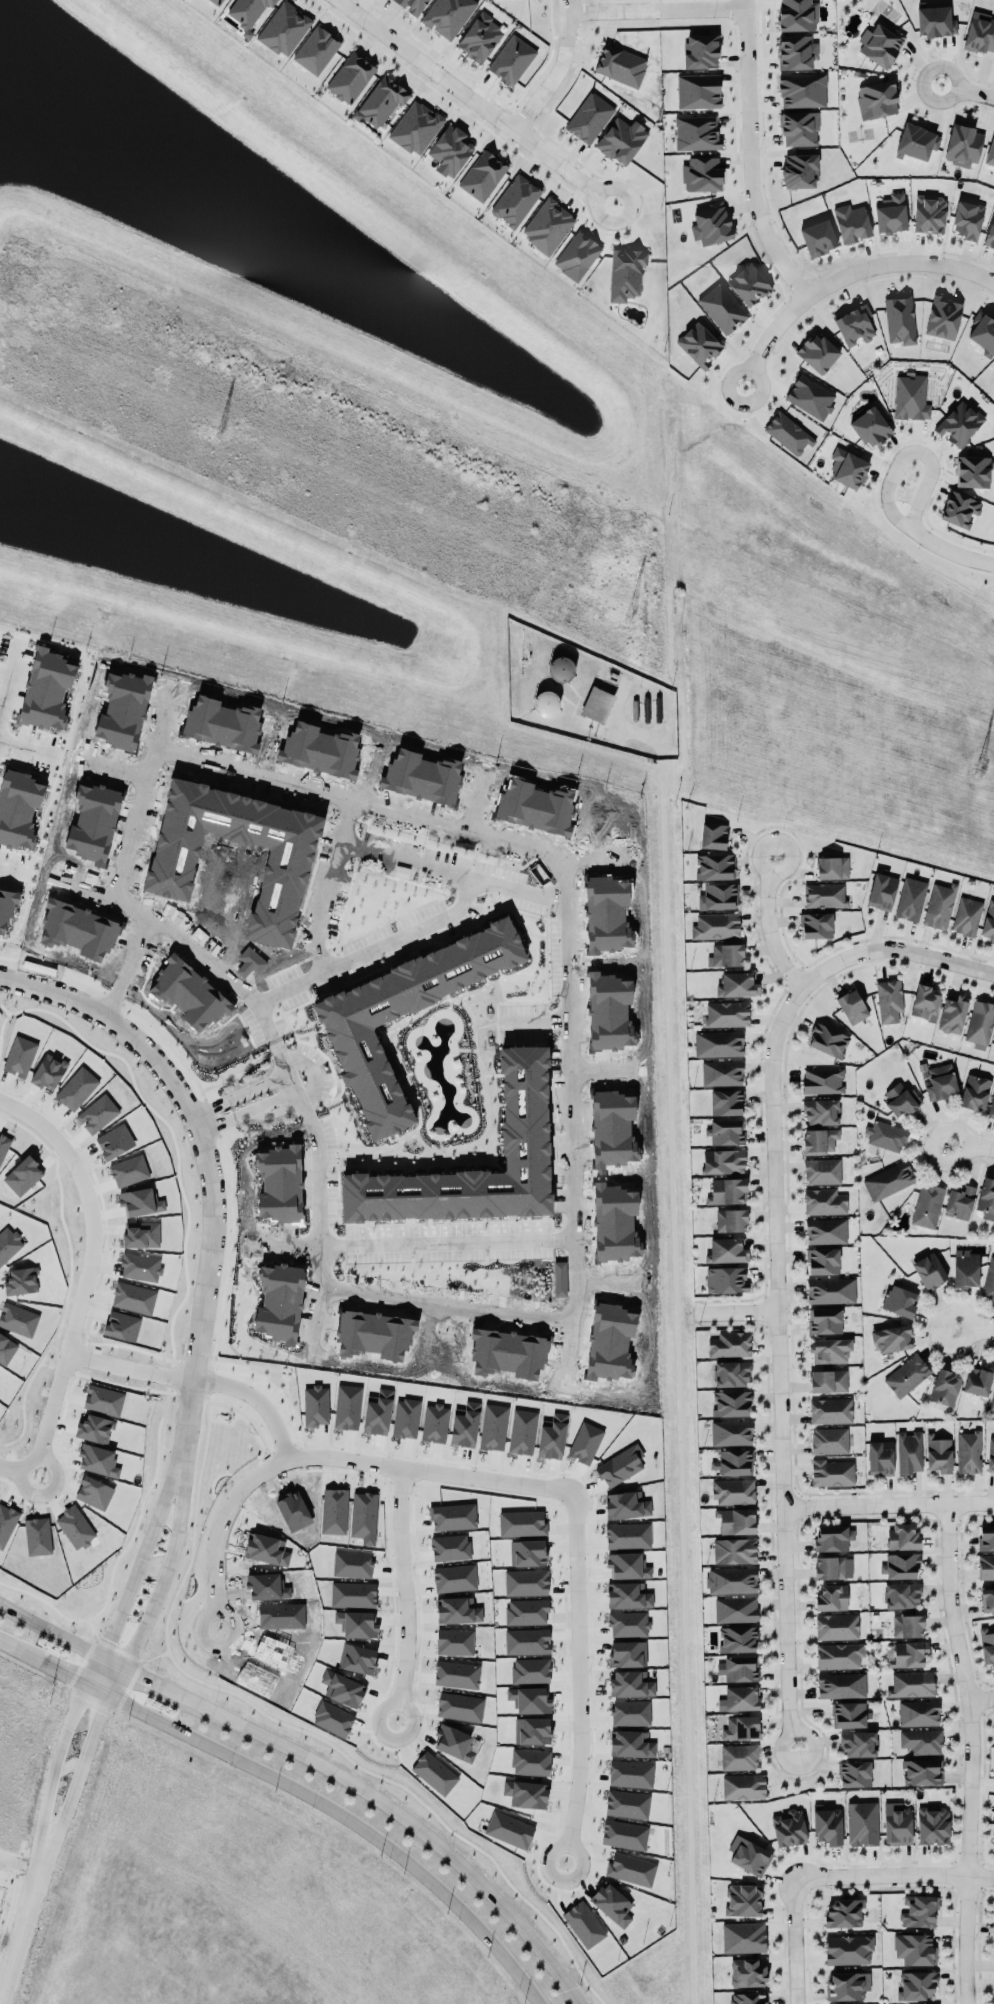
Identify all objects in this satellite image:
building: (217, 2)
building: (412, 6)
road: (656, 10)
building: (247, 11)
building: (448, 15)
building: (797, 15)
building: (935, 21)
building: (284, 29)
building: (980, 33)
building: (480, 37)
building: (880, 44)
building: (316, 50)
building: (700, 51)
building: (796, 52)
building: (512, 59)
building: (620, 65)
road: (557, 71)
building: (350, 77)
building: (802, 90)
road: (967, 90)
building: (698, 91)
building: (877, 99)
building: (381, 101)
road: (475, 102)
building: (589, 117)
building: (416, 127)
building: (799, 128)
building: (697, 133)
building: (621, 140)
building: (917, 142)
building: (963, 145)
building: (450, 150)
building: (990, 152)
road: (749, 156)
building: (993, 170)
building: (799, 171)
building: (702, 174)
building: (483, 175)
building: (515, 200)
building: (891, 213)
building: (929, 214)
building: (967, 218)
building: (852, 223)
building: (711, 224)
building: (548, 225)
building: (990, 233)
building: (818, 237)
building: (577, 256)
building: (626, 273)
road: (845, 277)
building: (748, 284)
building: (722, 308)
building: (943, 317)
building: (900, 319)
building: (855, 325)
building: (983, 332)
building: (699, 344)
building: (818, 353)
building: (810, 397)
building: (911, 397)
building: (959, 423)
building: (871, 427)
power tower: (212, 433)
building: (788, 433)
road: (910, 451)
building: (848, 468)
building: (973, 471)
building: (959, 509)
road: (951, 550)
power tower: (628, 612)
road: (10, 674)
building: (46, 690)
building: (546, 703)
road: (1, 704)
building: (597, 704)
road: (31, 748)
road: (60, 760)
power tower: (980, 765)
road: (272, 772)
building: (18, 808)
building: (713, 836)
building: (715, 866)
building: (832, 867)
road: (14, 871)
road: (453, 871)
building: (882, 890)
building: (824, 895)
building: (718, 896)
building: (911, 899)
building: (939, 905)
building: (7, 907)
building: (966, 916)
building: (989, 921)
building: (716, 925)
road: (768, 925)
building: (816, 925)
road: (410, 935)
building: (726, 955)
road: (206, 958)
road: (939, 958)
building: (416, 983)
building: (737, 984)
building: (889, 1000)
building: (924, 1002)
building: (852, 1006)
building: (727, 1013)
building: (952, 1014)
building: (980, 1024)
building: (827, 1040)
building: (993, 1042)
building: (718, 1043)
building: (20, 1056)
building: (722, 1072)
building: (822, 1080)
building: (941, 1081)
road: (288, 1084)
building: (975, 1091)
building: (901, 1099)
building: (726, 1102)
building: (991, 1107)
building: (821, 1111)
road: (203, 1121)
building: (726, 1131)
building: (886, 1135)
building: (819, 1140)
road: (970, 1147)
building: (723, 1161)
road: (208, 1163)
building: (129, 1170)
building: (822, 1171)
building: (888, 1180)
building: (727, 1191)
building: (382, 1195)
building: (986, 1196)
building: (824, 1201)
building: (960, 1201)
building: (927, 1205)
road: (575, 1206)
road: (90, 1218)
building: (731, 1220)
building: (826, 1230)
road: (448, 1239)
building: (726, 1250)
building: (823, 1260)
building: (965, 1268)
building: (929, 1271)
building: (726, 1279)
building: (21, 1280)
building: (989, 1280)
building: (831, 1290)
building: (899, 1301)
road: (737, 1309)
road: (779, 1314)
building: (824, 1320)
road: (972, 1327)
building: (892, 1338)
building: (730, 1344)
building: (830, 1350)
road: (125, 1368)
road: (676, 1373)
building: (731, 1373)
building: (907, 1375)
building: (828, 1380)
building: (977, 1381)
building: (945, 1387)
building: (992, 1402)
building: (731, 1403)
building: (831, 1410)
building: (378, 1412)
building: (95, 1429)
building: (731, 1432)
building: (829, 1440)
road: (42, 1441)
building: (909, 1452)
building: (968, 1452)
building: (938, 1453)
building: (990, 1453)
building: (880, 1457)
building: (98, 1460)
building: (734, 1462)
building: (620, 1465)
building: (832, 1472)
road: (543, 1487)
building: (733, 1491)
road: (889, 1504)
building: (453, 1516)
building: (736, 1520)
building: (522, 1523)
road: (211, 1530)
building: (627, 1535)
building: (903, 1536)
building: (832, 1537)
building: (986, 1537)
building: (450, 1547)
building: (266, 1549)
building: (734, 1550)
road: (143, 1557)
building: (900, 1565)
road: (169, 1566)
building: (830, 1567)
building: (986, 1567)
building: (455, 1578)
building: (731, 1580)
building: (526, 1582)
road: (398, 1595)
building: (628, 1595)
building: (901, 1595)
building: (832, 1597)
building: (987, 1599)
building: (735, 1609)
building: (457, 1610)
building: (526, 1611)
building: (907, 1625)
building: (837, 1626)
road: (51, 1629)
building: (738, 1639)
building: (527, 1640)
building: (454, 1641)
road: (12, 1646)
building: (987, 1646)
building: (839, 1655)
road: (113, 1660)
road: (50, 1667)
road: (90, 1668)
building: (739, 1668)
building: (530, 1670)
building: (456, 1674)
road: (113, 1679)
road: (156, 1680)
building: (631, 1683)
building: (912, 1683)
building: (841, 1685)
road: (90, 1687)
building: (342, 1688)
building: (739, 1698)
road: (981, 1698)
building: (530, 1699)
building: (460, 1706)
building: (918, 1713)
building: (848, 1714)
building: (333, 1718)
building: (741, 1727)
building: (993, 1729)
building: (532, 1730)
building: (921, 1741)
building: (454, 1742)
building: (631, 1744)
building: (859, 1744)
road: (970, 1752)
road: (51, 1756)
building: (739, 1756)
building: (530, 1761)
road: (77, 1764)
building: (434, 1772)
building: (922, 1772)
building: (631, 1773)
building: (854, 1773)
road: (988, 1781)
building: (743, 1786)
road: (982, 1788)
building: (526, 1793)
building: (627, 1804)
road: (347, 1813)
road: (410, 1818)
building: (862, 1823)
building: (897, 1824)
building: (827, 1825)
building: (933, 1825)
building: (789, 1828)
building: (509, 1829)
building: (624, 1834)
building: (992, 1834)
building: (749, 1855)
road: (989, 1862)
road: (17, 1865)
building: (630, 1868)
road: (892, 1870)
building: (743, 1900)
road: (24, 1902)
building: (612, 1903)
building: (919, 1910)
building: (843, 1912)
building: (584, 1924)
building: (743, 1937)
road: (792, 1938)
building: (848, 1949)
building: (915, 1949)
building: (748, 1971)
building: (847, 1985)
building: (917, 1985)
building: (748, 1998)

